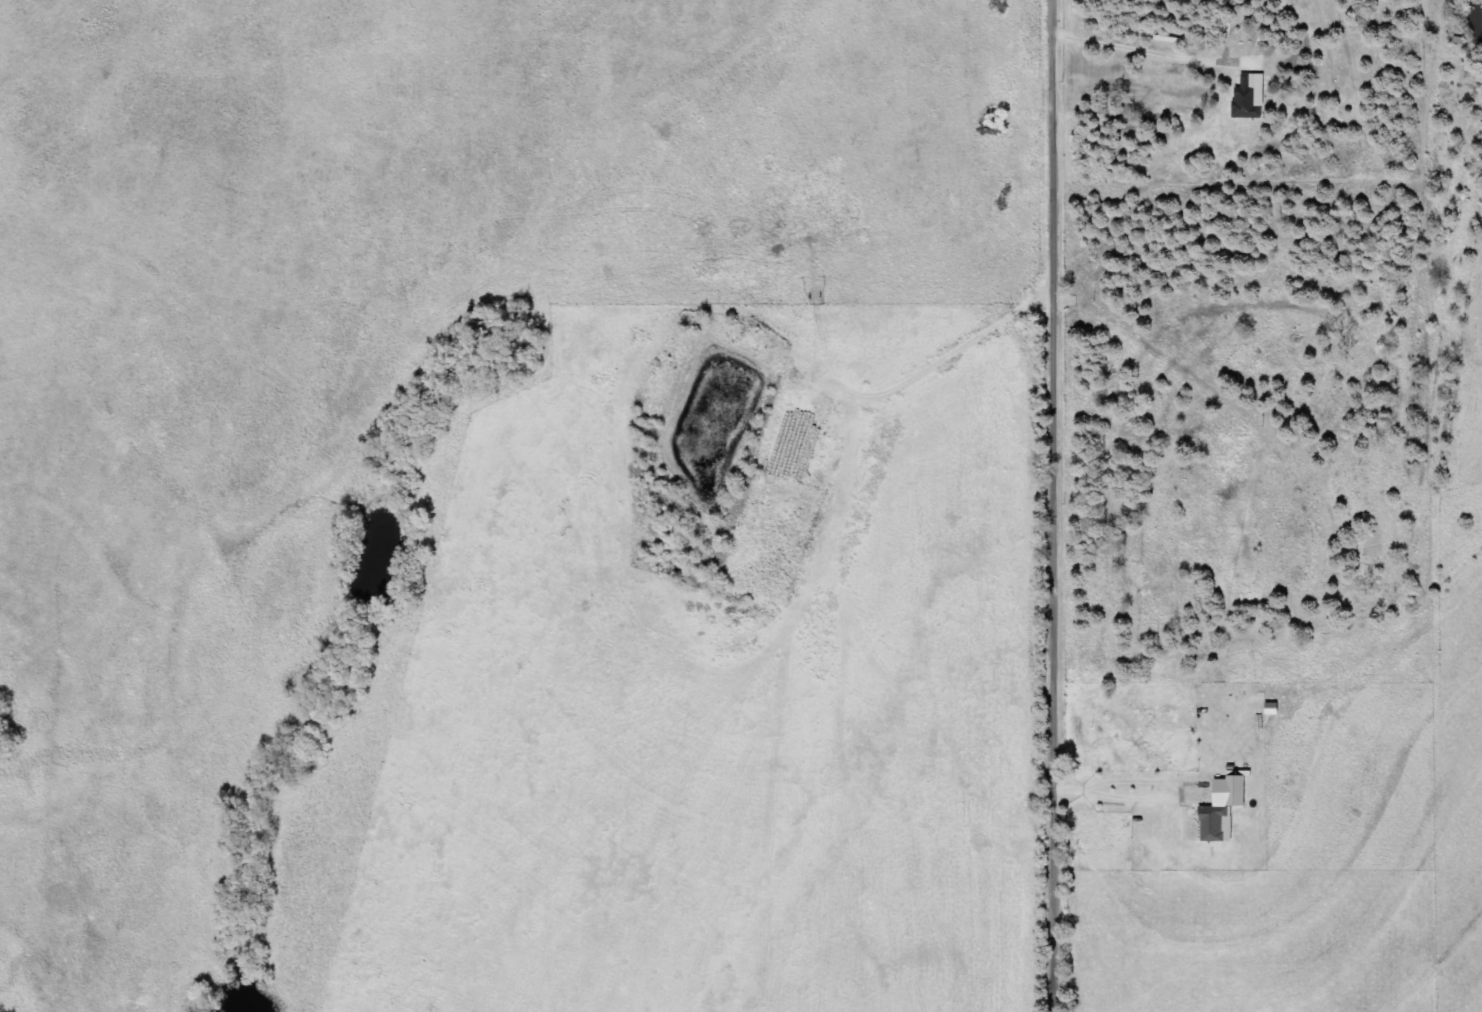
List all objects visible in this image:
building: (1254, 97)
road: (1057, 506)
building: (1228, 809)

